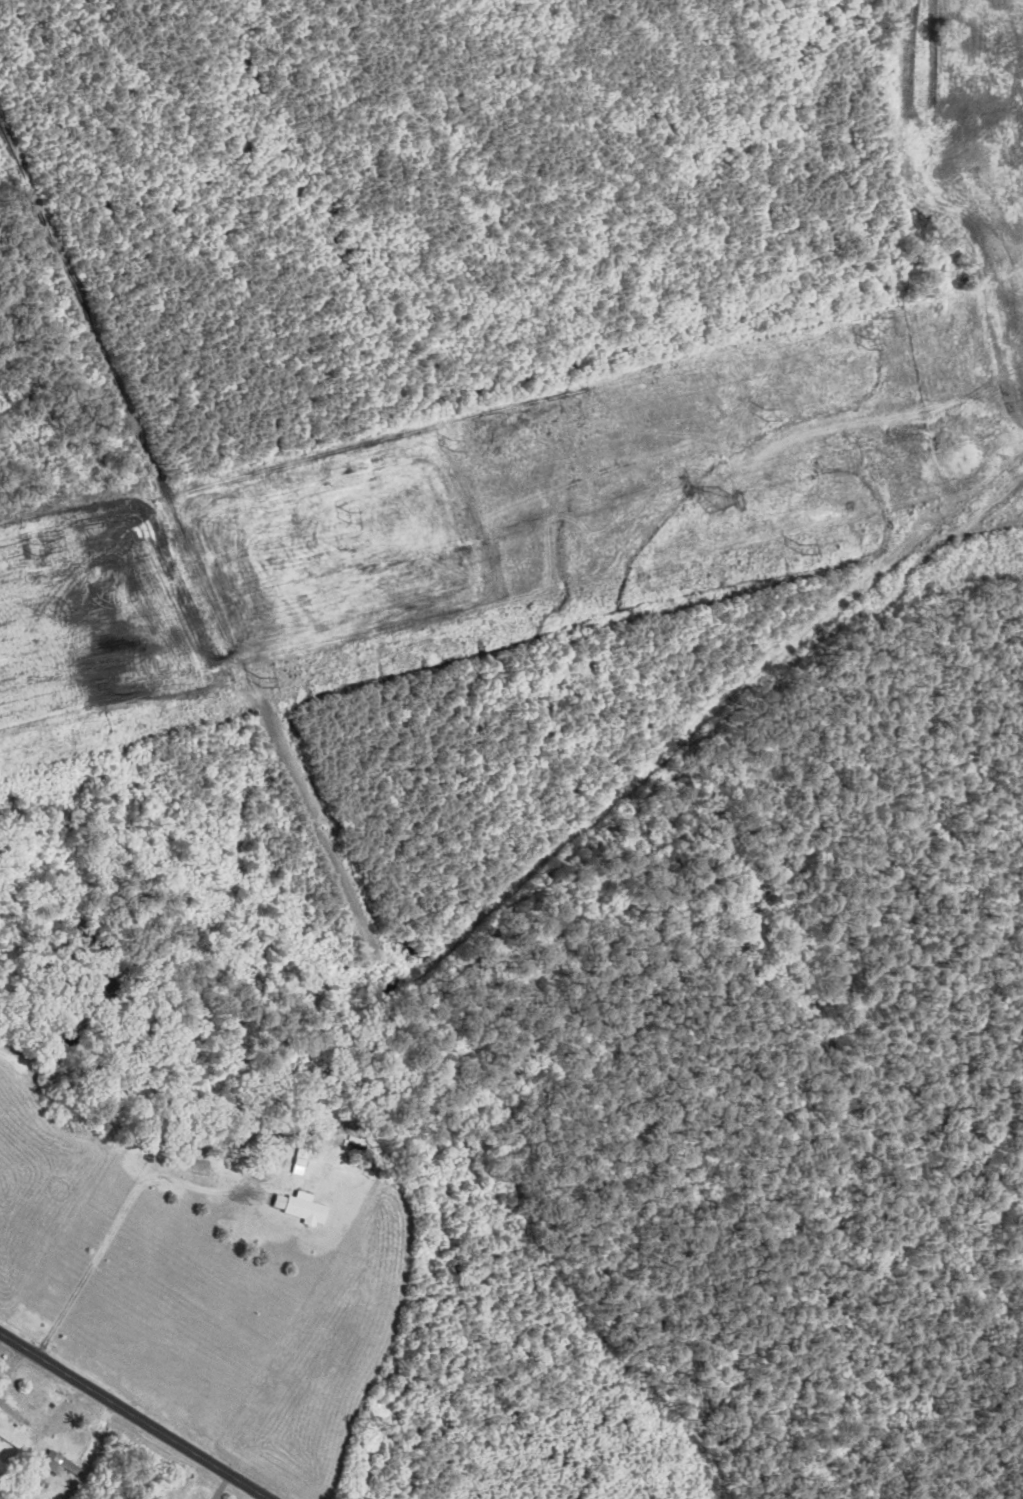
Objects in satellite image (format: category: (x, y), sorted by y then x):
power tower: (867, 347)
power tower: (766, 415)
power tower: (456, 448)
power tower: (714, 491)
power tower: (348, 515)
power tower: (33, 548)
power tower: (805, 550)
power tower: (264, 680)
building: (300, 1166)
building: (301, 1208)
road: (133, 1415)
building: (12, 1434)
building: (60, 1464)

